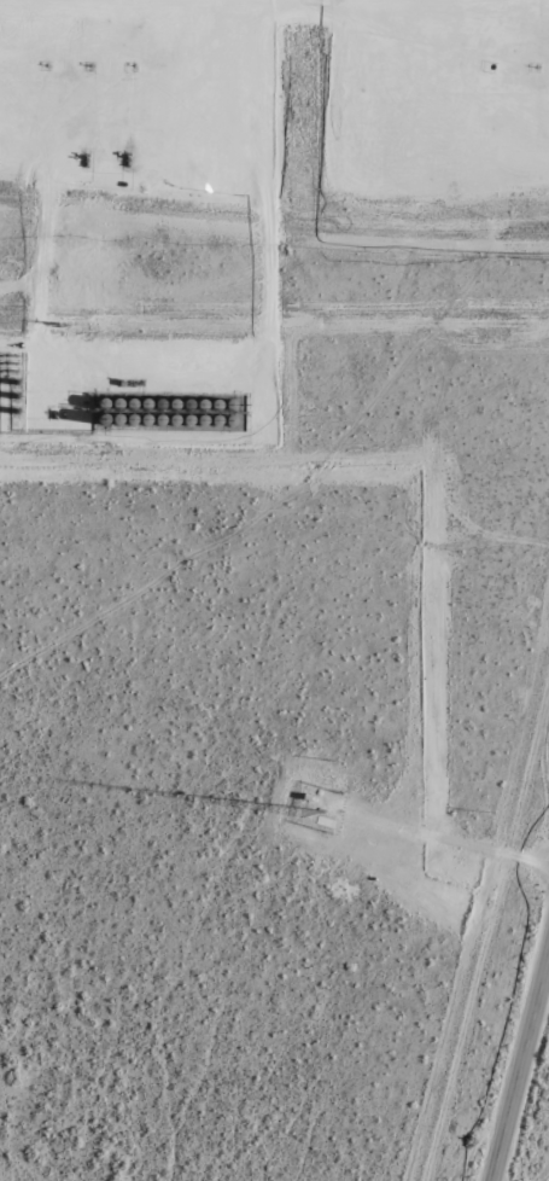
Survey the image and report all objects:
road: (427, 63)
petroleum well: (89, 64)
petroleum well: (133, 64)
petroleum well: (47, 65)
petroleum well: (536, 65)
petroleum well: (492, 66)
road: (153, 355)
road: (521, 1067)

